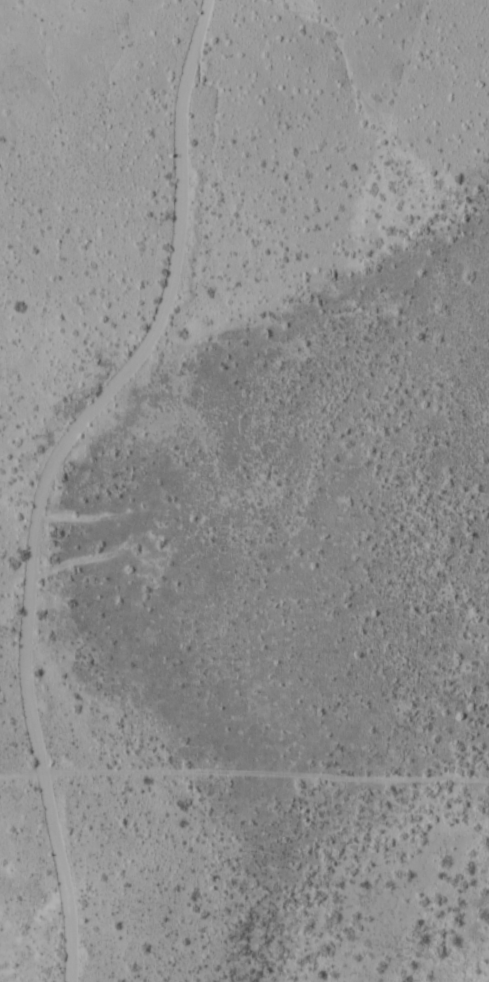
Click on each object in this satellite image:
road: (28, 484)
road: (244, 774)

